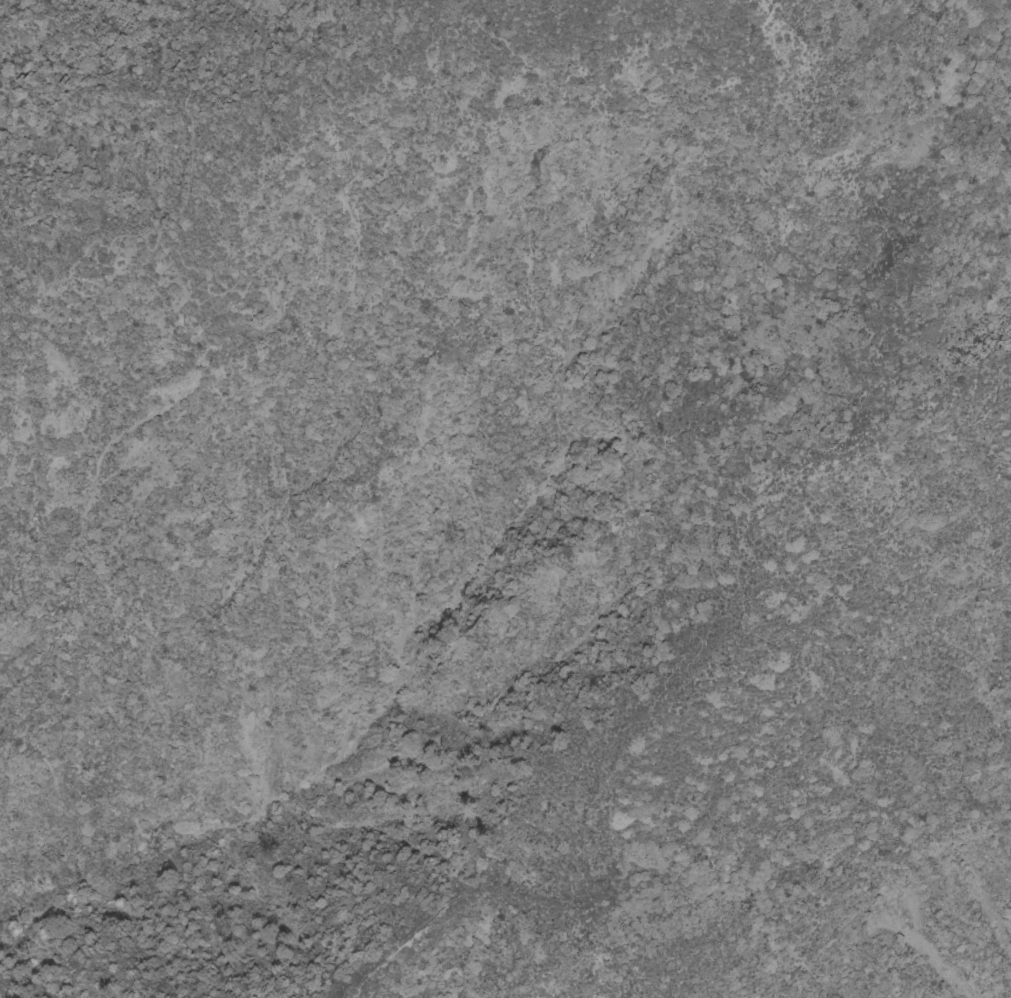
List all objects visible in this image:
road: (180, 205)
road: (751, 509)

